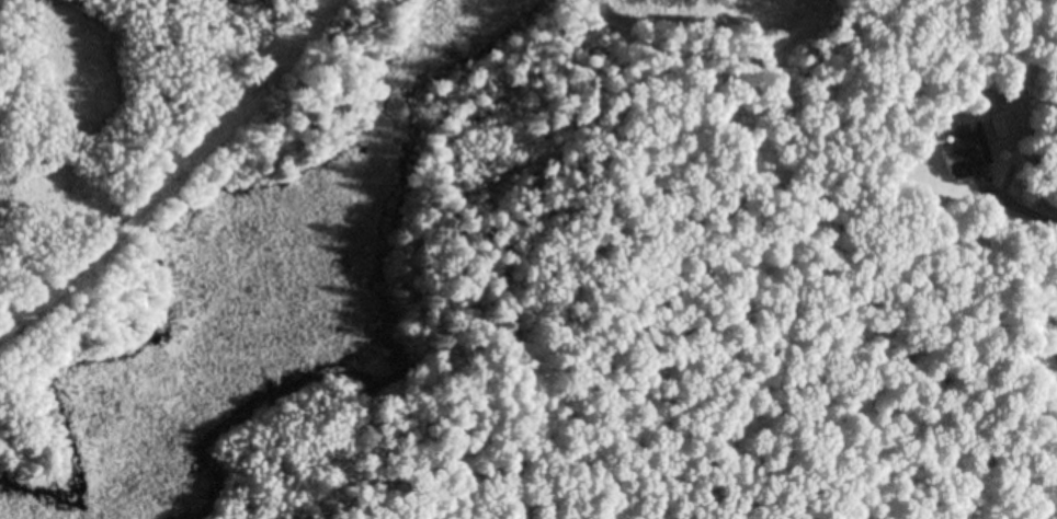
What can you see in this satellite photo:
building: (966, 151)
airport: (169, 251)

